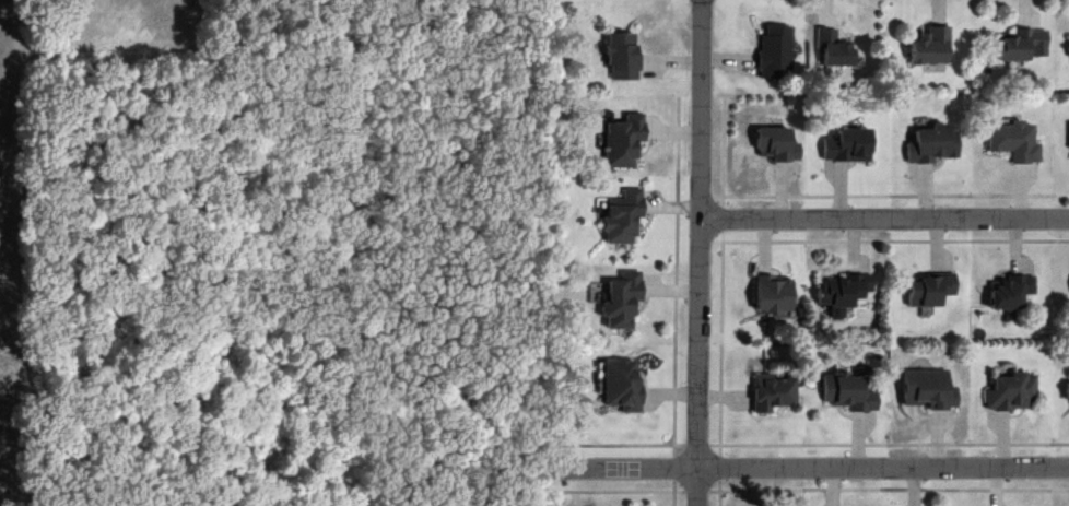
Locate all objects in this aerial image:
building: (1020, 48)
building: (772, 49)
building: (932, 50)
building: (834, 51)
building: (620, 58)
building: (622, 142)
building: (774, 142)
building: (1015, 143)
building: (933, 145)
building: (847, 148)
road: (720, 149)
road: (890, 192)
road: (692, 198)
road: (672, 203)
building: (621, 217)
road: (720, 217)
road: (885, 220)
road: (692, 222)
road: (890, 239)
road: (702, 252)
road: (674, 272)
building: (932, 291)
building: (771, 295)
building: (844, 295)
building: (1011, 295)
building: (621, 302)
road: (719, 341)
building: (621, 388)
building: (1067, 388)
building: (929, 391)
building: (1013, 393)
building: (851, 395)
building: (773, 396)
road: (622, 443)
road: (889, 443)
road: (696, 444)
road: (673, 464)
road: (719, 466)
road: (808, 469)
road: (889, 487)
road: (695, 489)
road: (619, 490)
road: (673, 492)
road: (719, 492)

